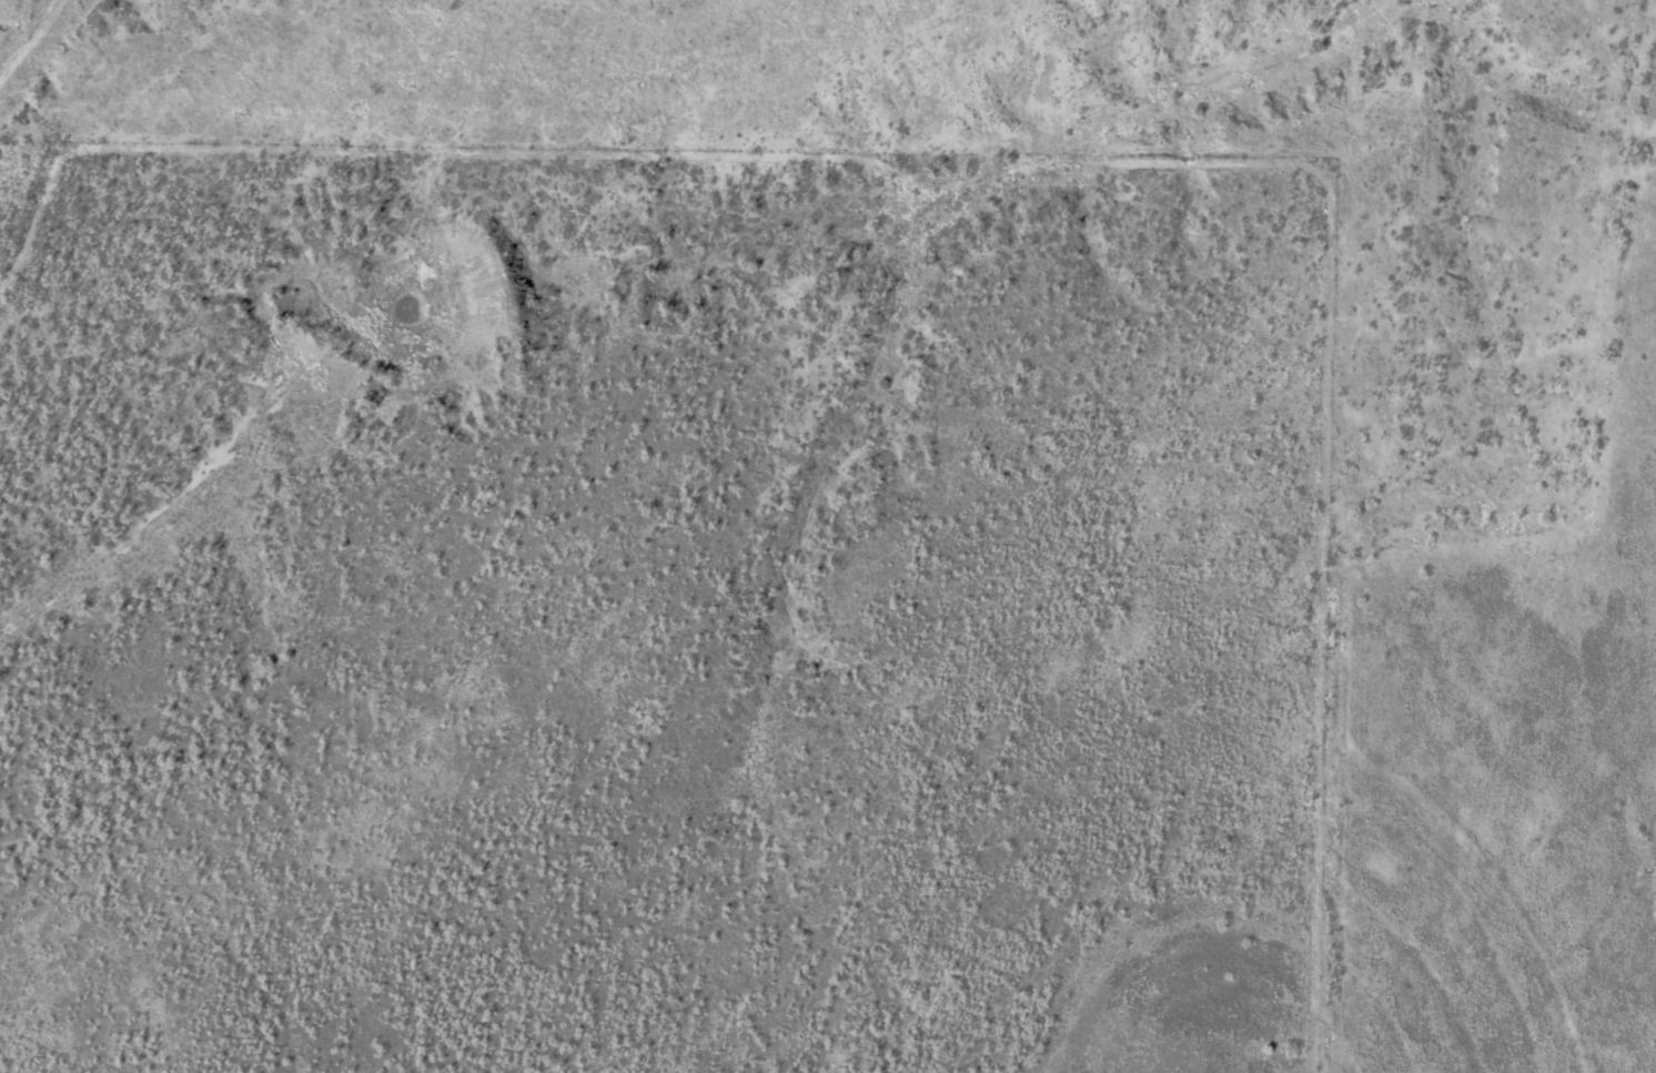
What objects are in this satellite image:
road: (180, 305)
road: (1107, 583)

